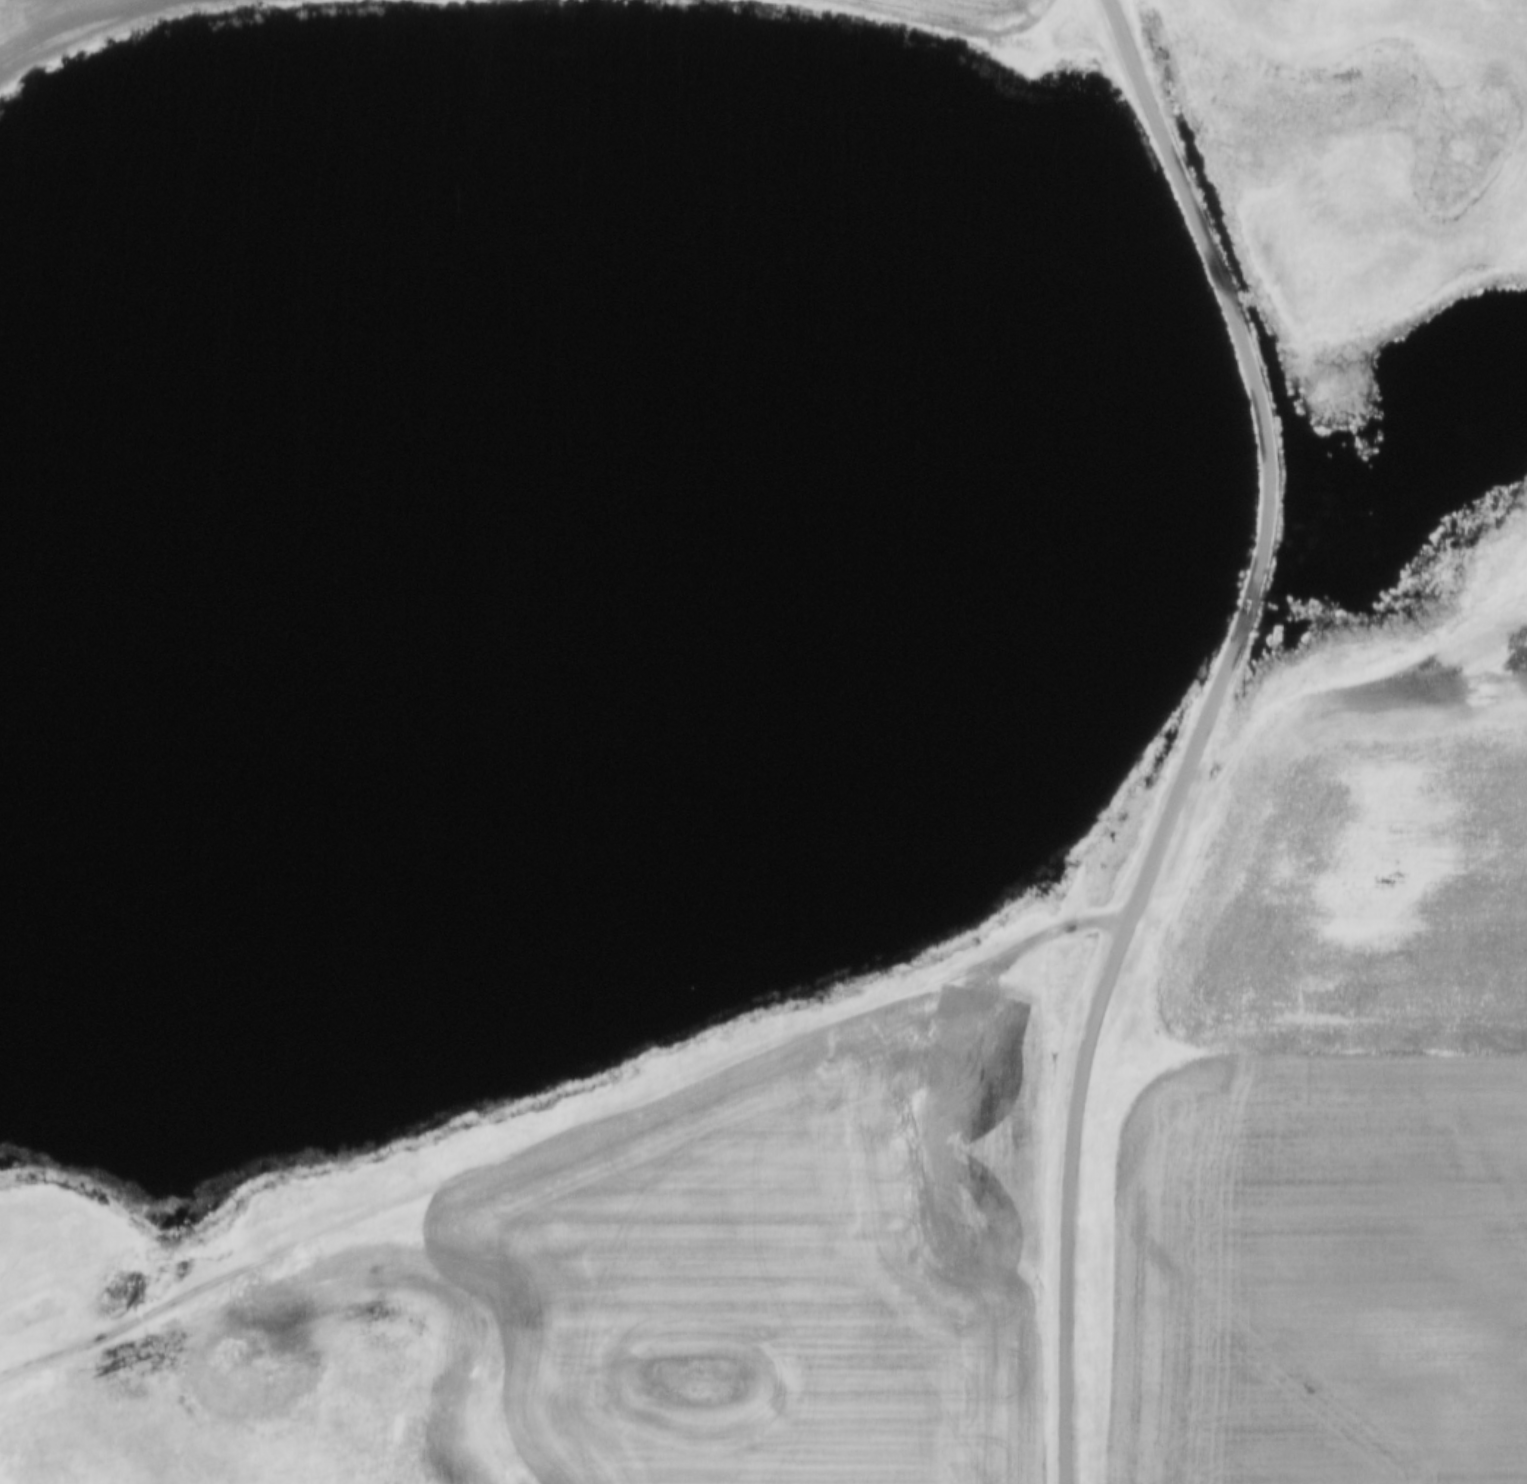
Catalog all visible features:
road: (1196, 733)
road: (558, 1131)

